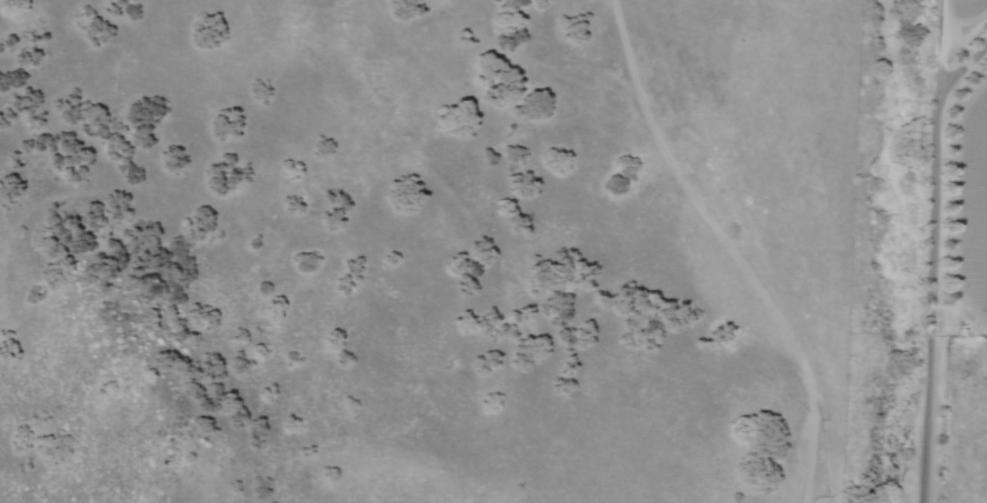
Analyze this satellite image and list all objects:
crop: (974, 169)
road: (733, 246)
road: (930, 251)

